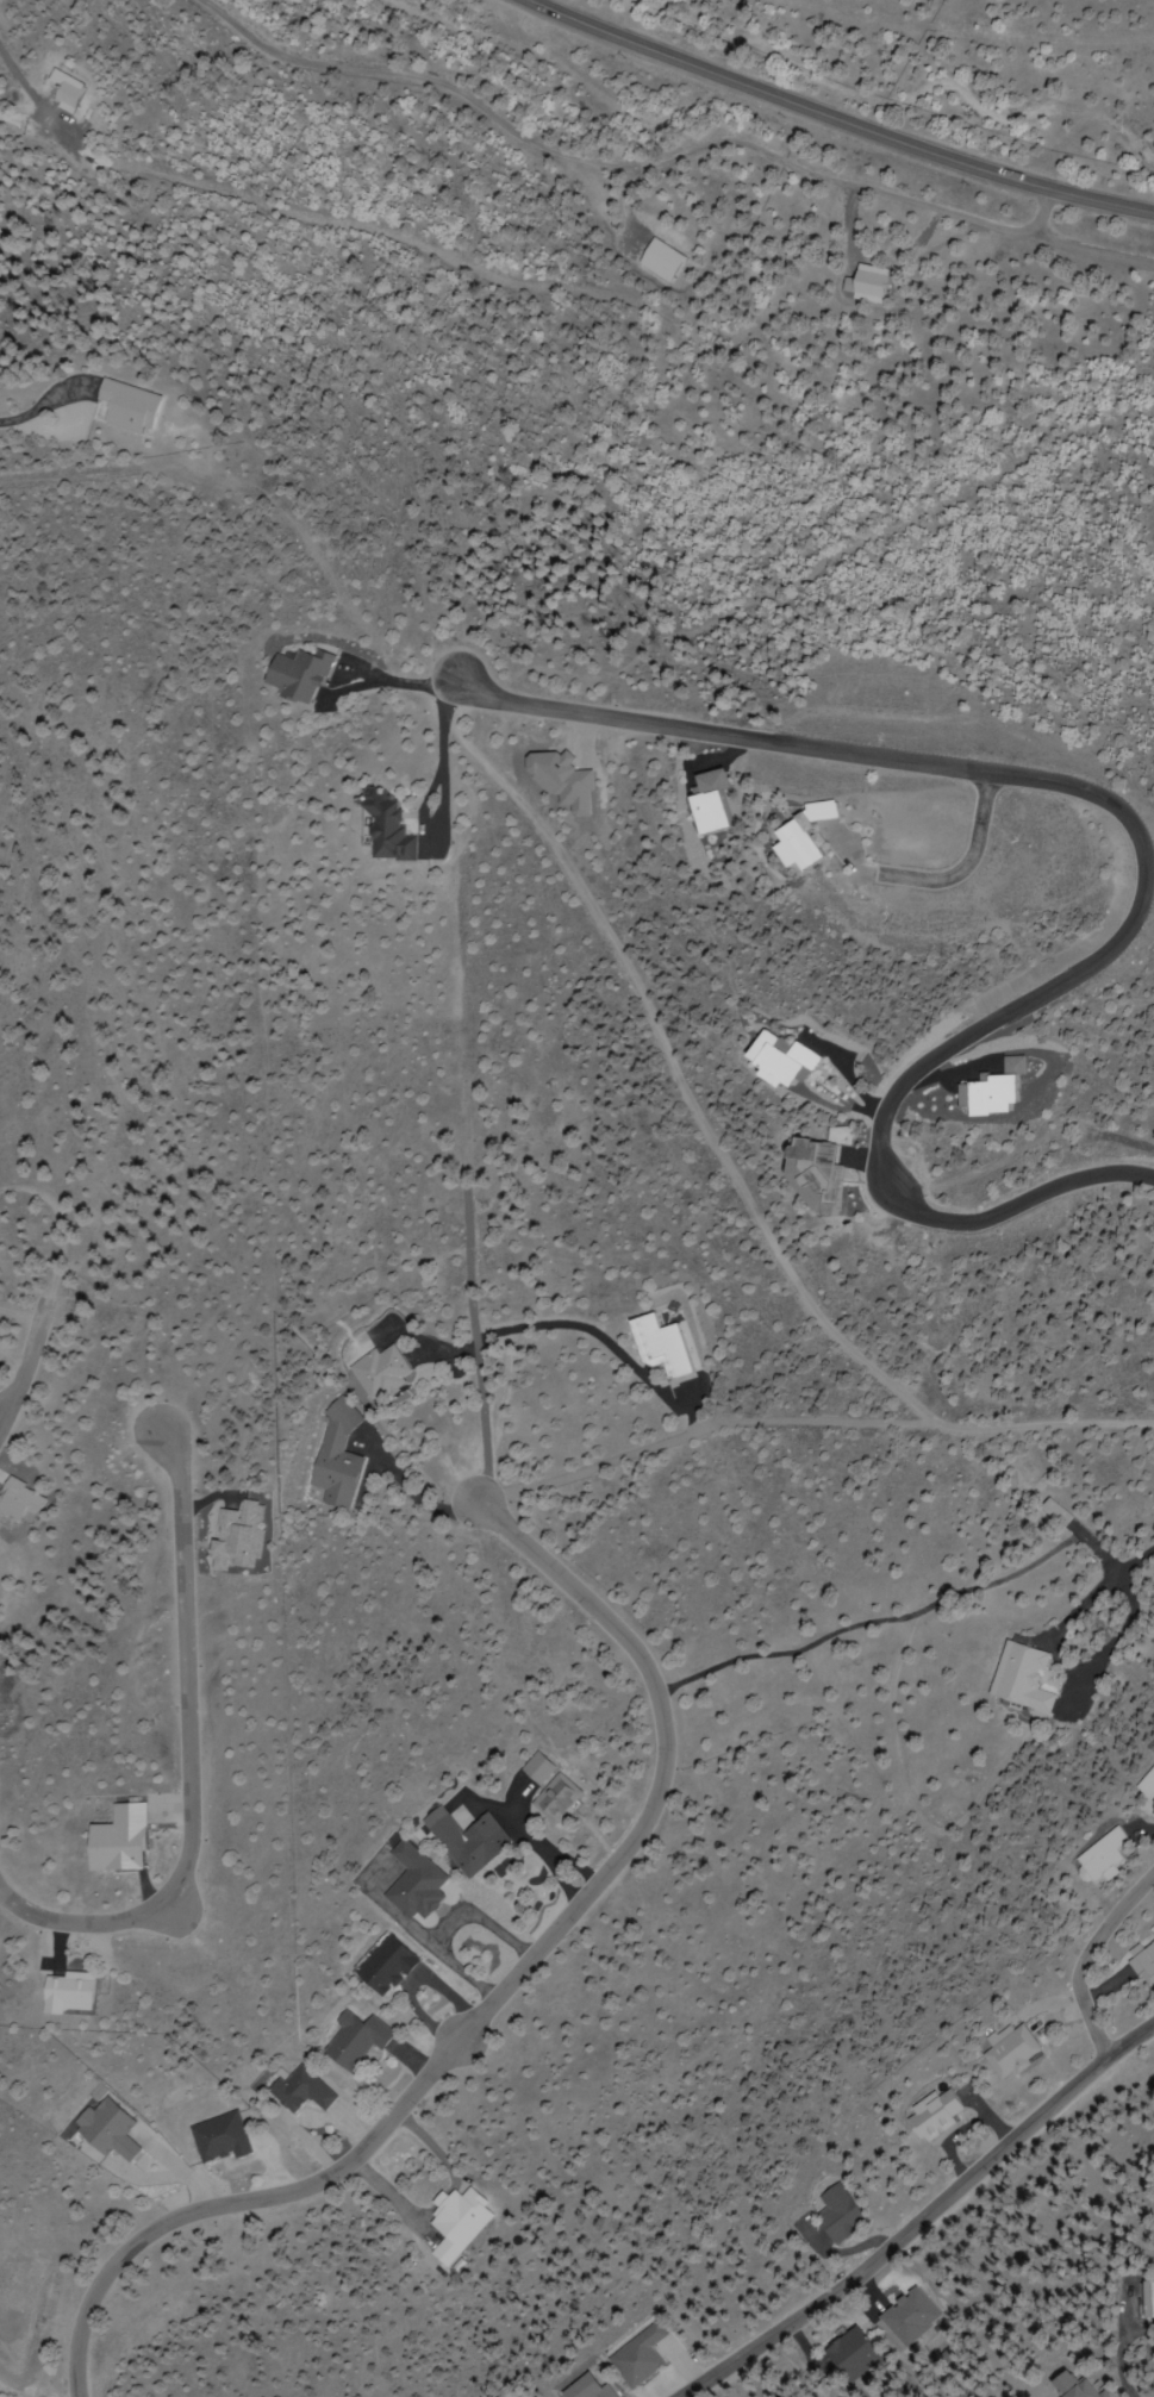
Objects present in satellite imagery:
road: (985, 29)
road: (830, 119)
building: (127, 406)
building: (293, 678)
building: (825, 813)
building: (382, 831)
road: (1141, 872)
building: (773, 1060)
road: (54, 1222)
building: (660, 1348)
road: (26, 1360)
building: (376, 1372)
building: (332, 1460)
building: (1050, 1512)
building: (1019, 1679)
road: (187, 1758)
building: (1148, 1783)
building: (553, 1798)
building: (466, 1840)
building: (1102, 1856)
building: (416, 1884)
road: (1088, 1959)
building: (1144, 1966)
building: (387, 1967)
building: (74, 1992)
road: (499, 1997)
building: (355, 2041)
building: (1011, 2053)
building: (300, 2091)
building: (931, 2116)
building: (111, 2130)
building: (218, 2139)
building: (836, 2215)
road: (923, 2220)
building: (456, 2223)
building: (1147, 2299)
building: (912, 2317)
building: (852, 2357)
building: (637, 2358)
building: (1068, 2387)
building: (586, 2389)

